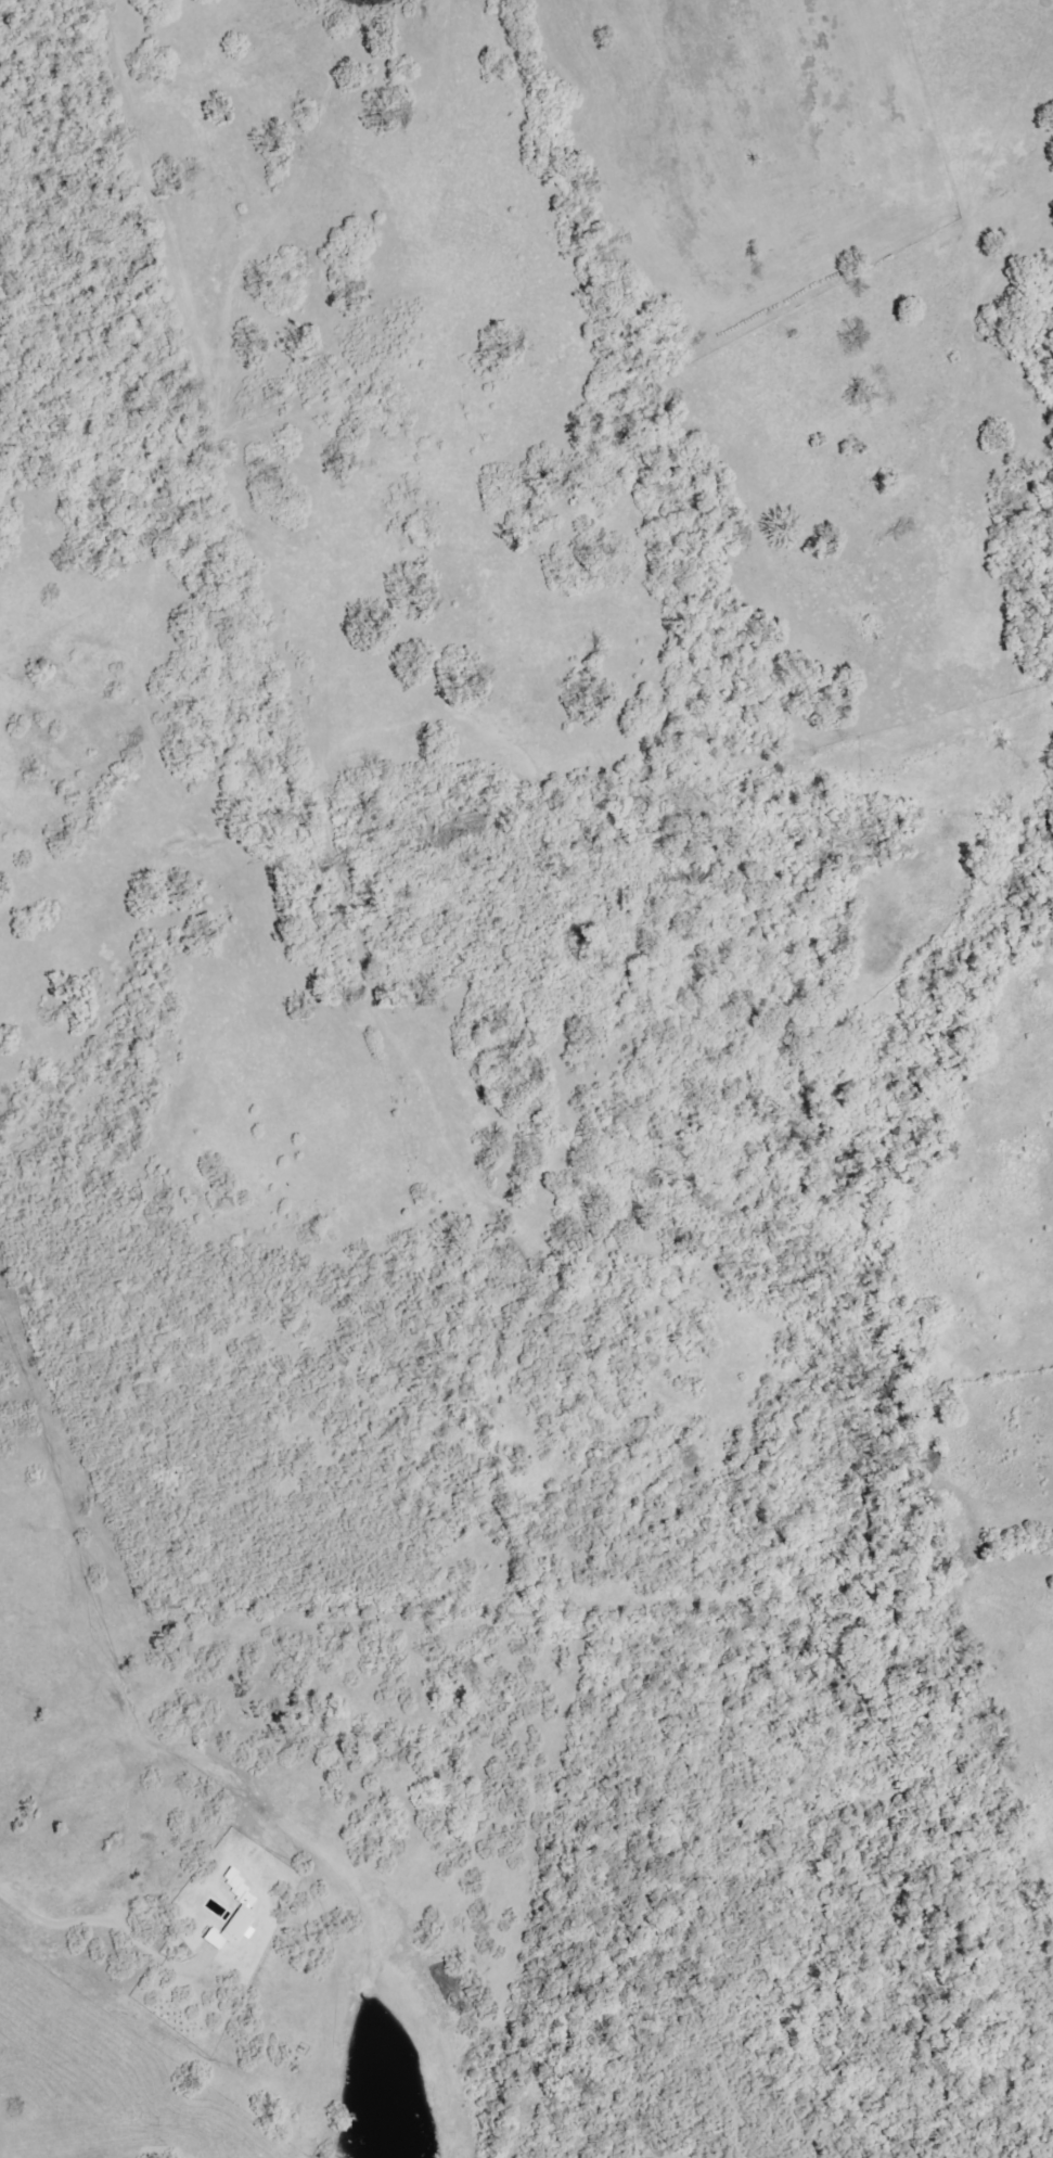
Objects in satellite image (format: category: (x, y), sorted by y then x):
building: (236, 1915)

